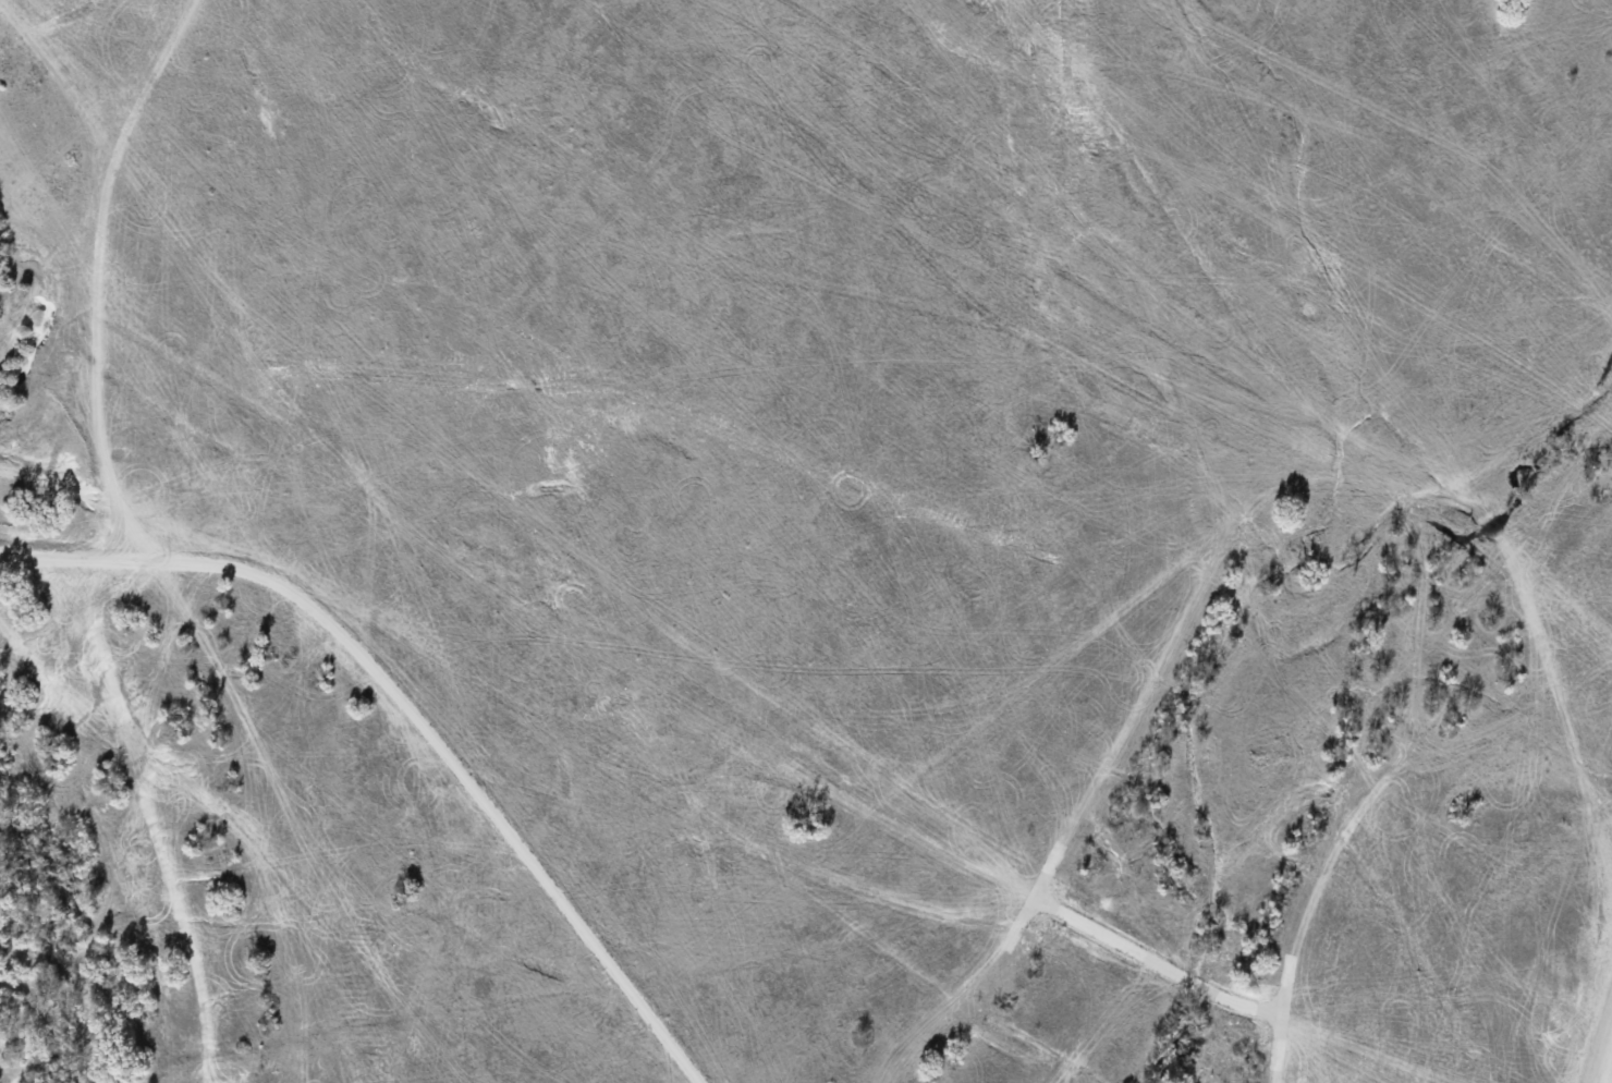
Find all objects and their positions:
road: (1608, 1062)

